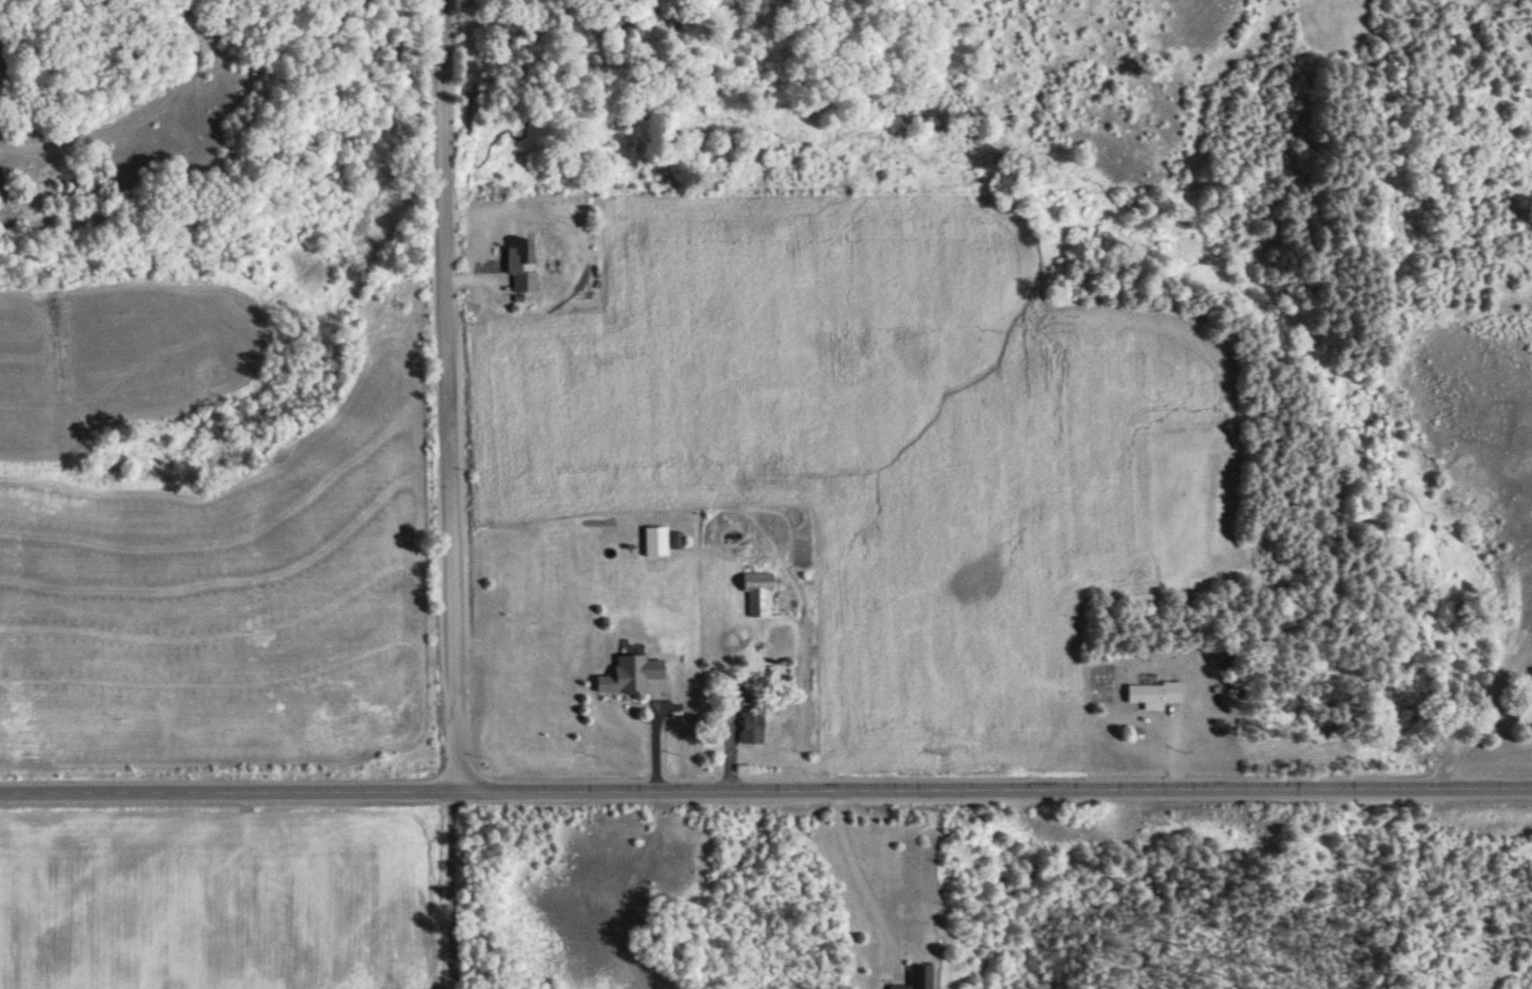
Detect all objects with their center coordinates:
road: (137, 115)
building: (524, 251)
building: (527, 282)
road: (448, 396)
road: (400, 416)
building: (679, 540)
building: (658, 543)
building: (760, 591)
building: (634, 675)
building: (1158, 693)
building: (754, 724)
road: (766, 790)
road: (862, 873)
road: (461, 891)
building: (922, 978)

